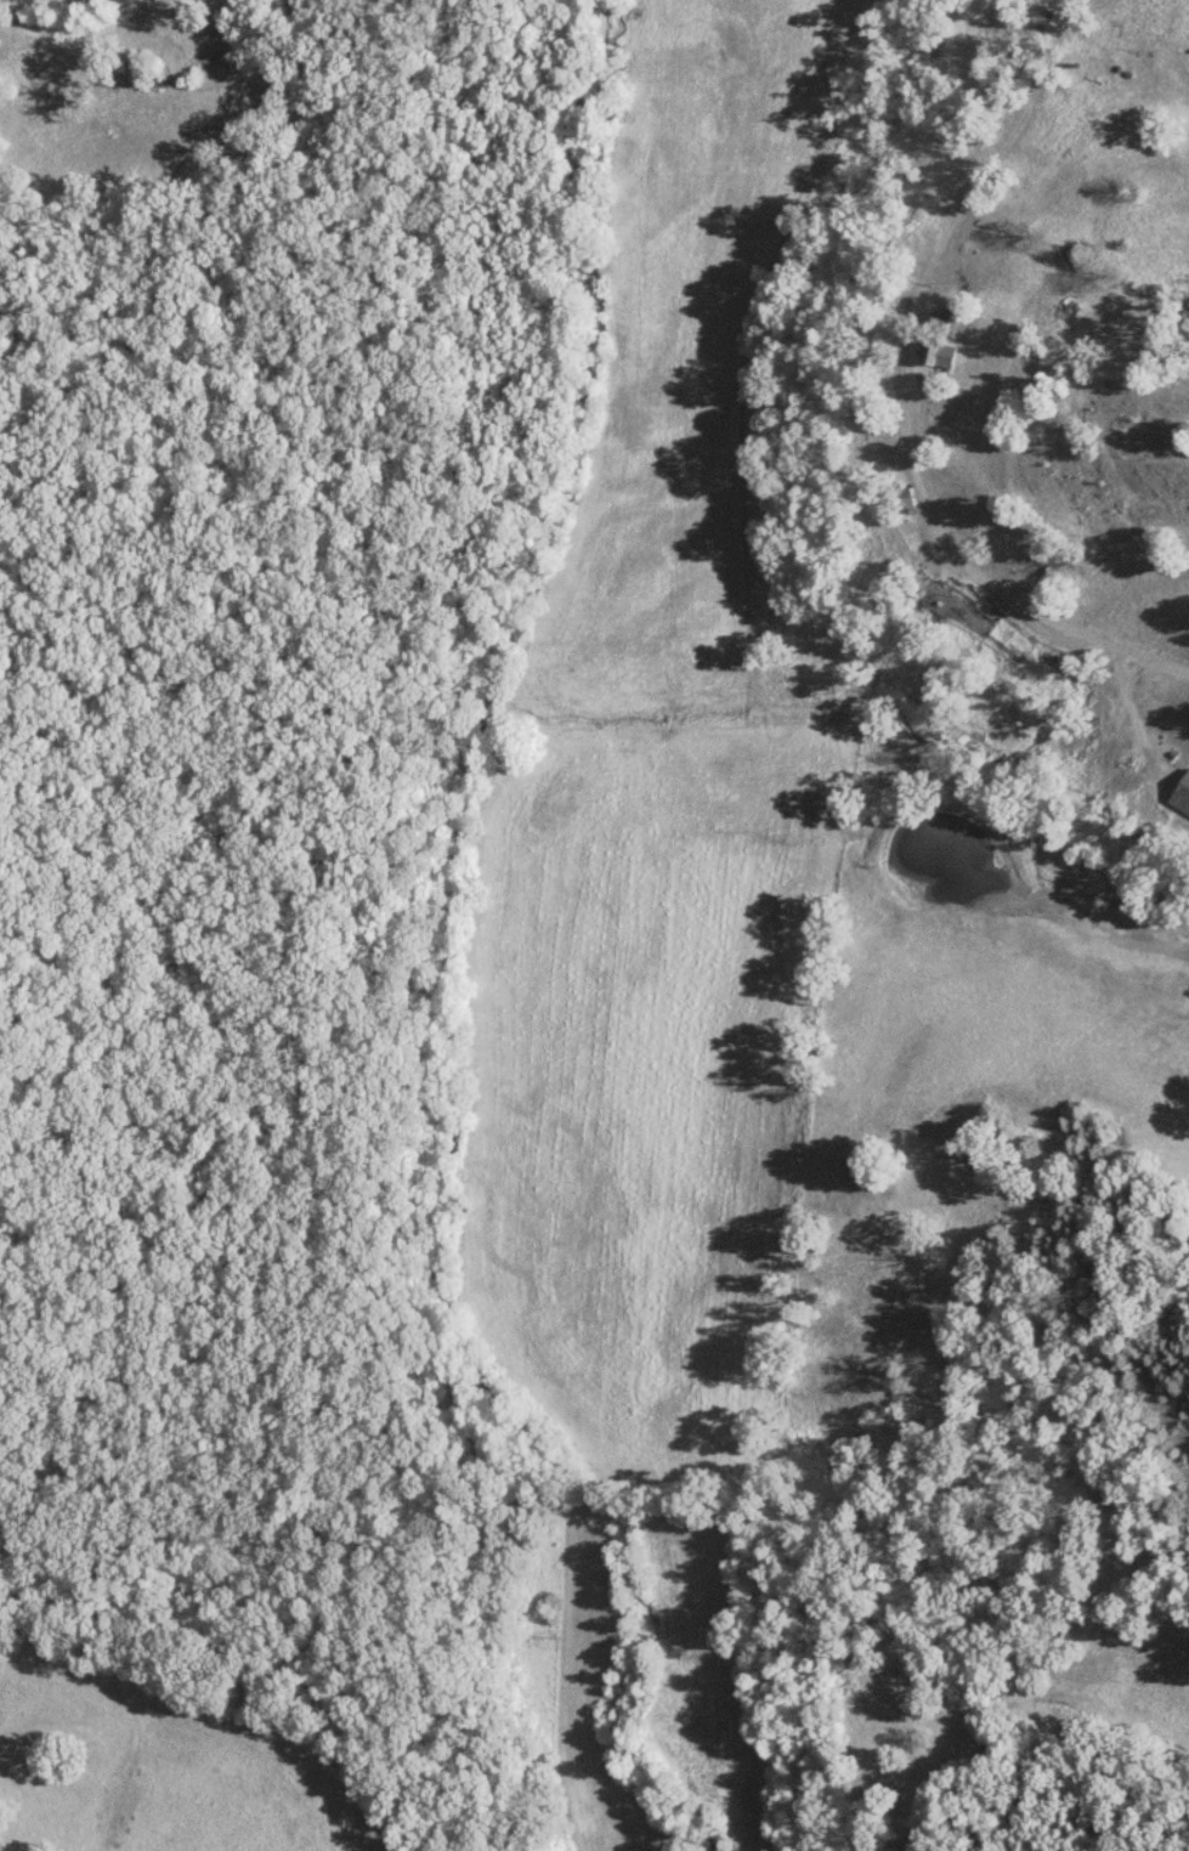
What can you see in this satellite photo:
building: (938, 321)
building: (938, 353)
road: (979, 578)
building: (1180, 793)

